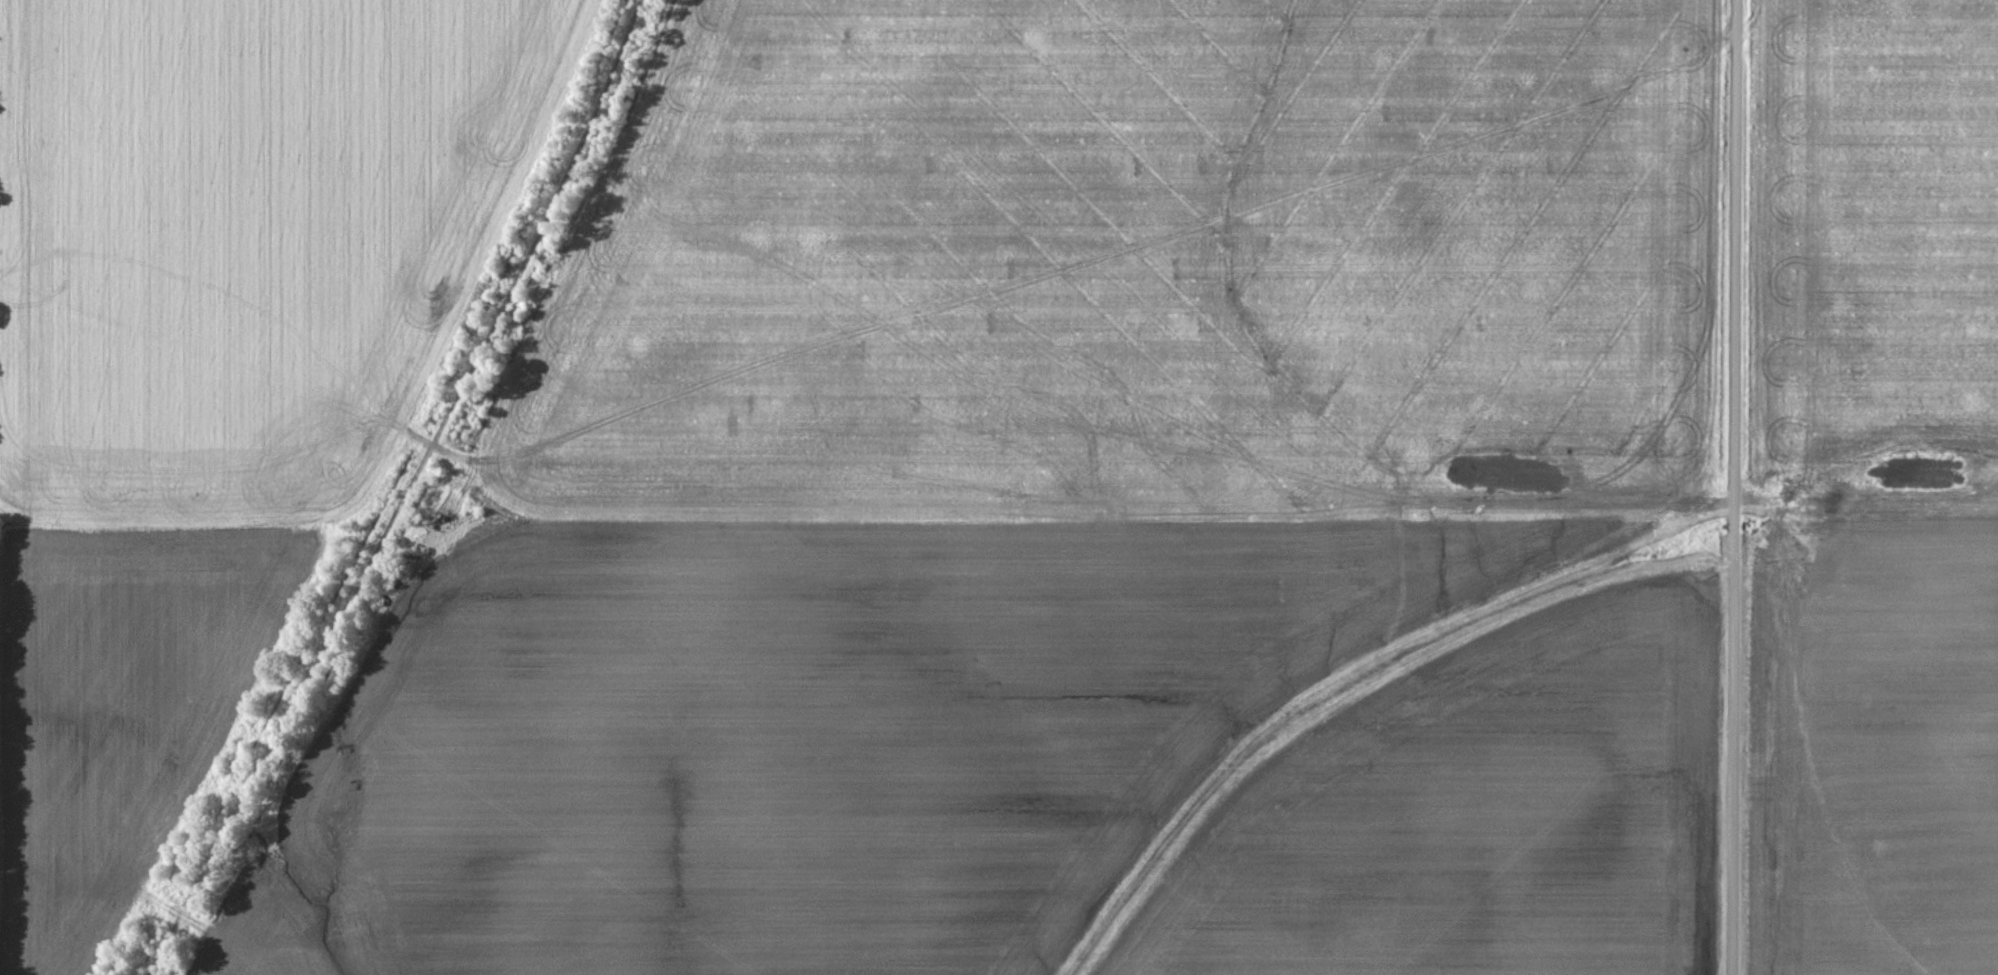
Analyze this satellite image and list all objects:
road: (1741, 487)

